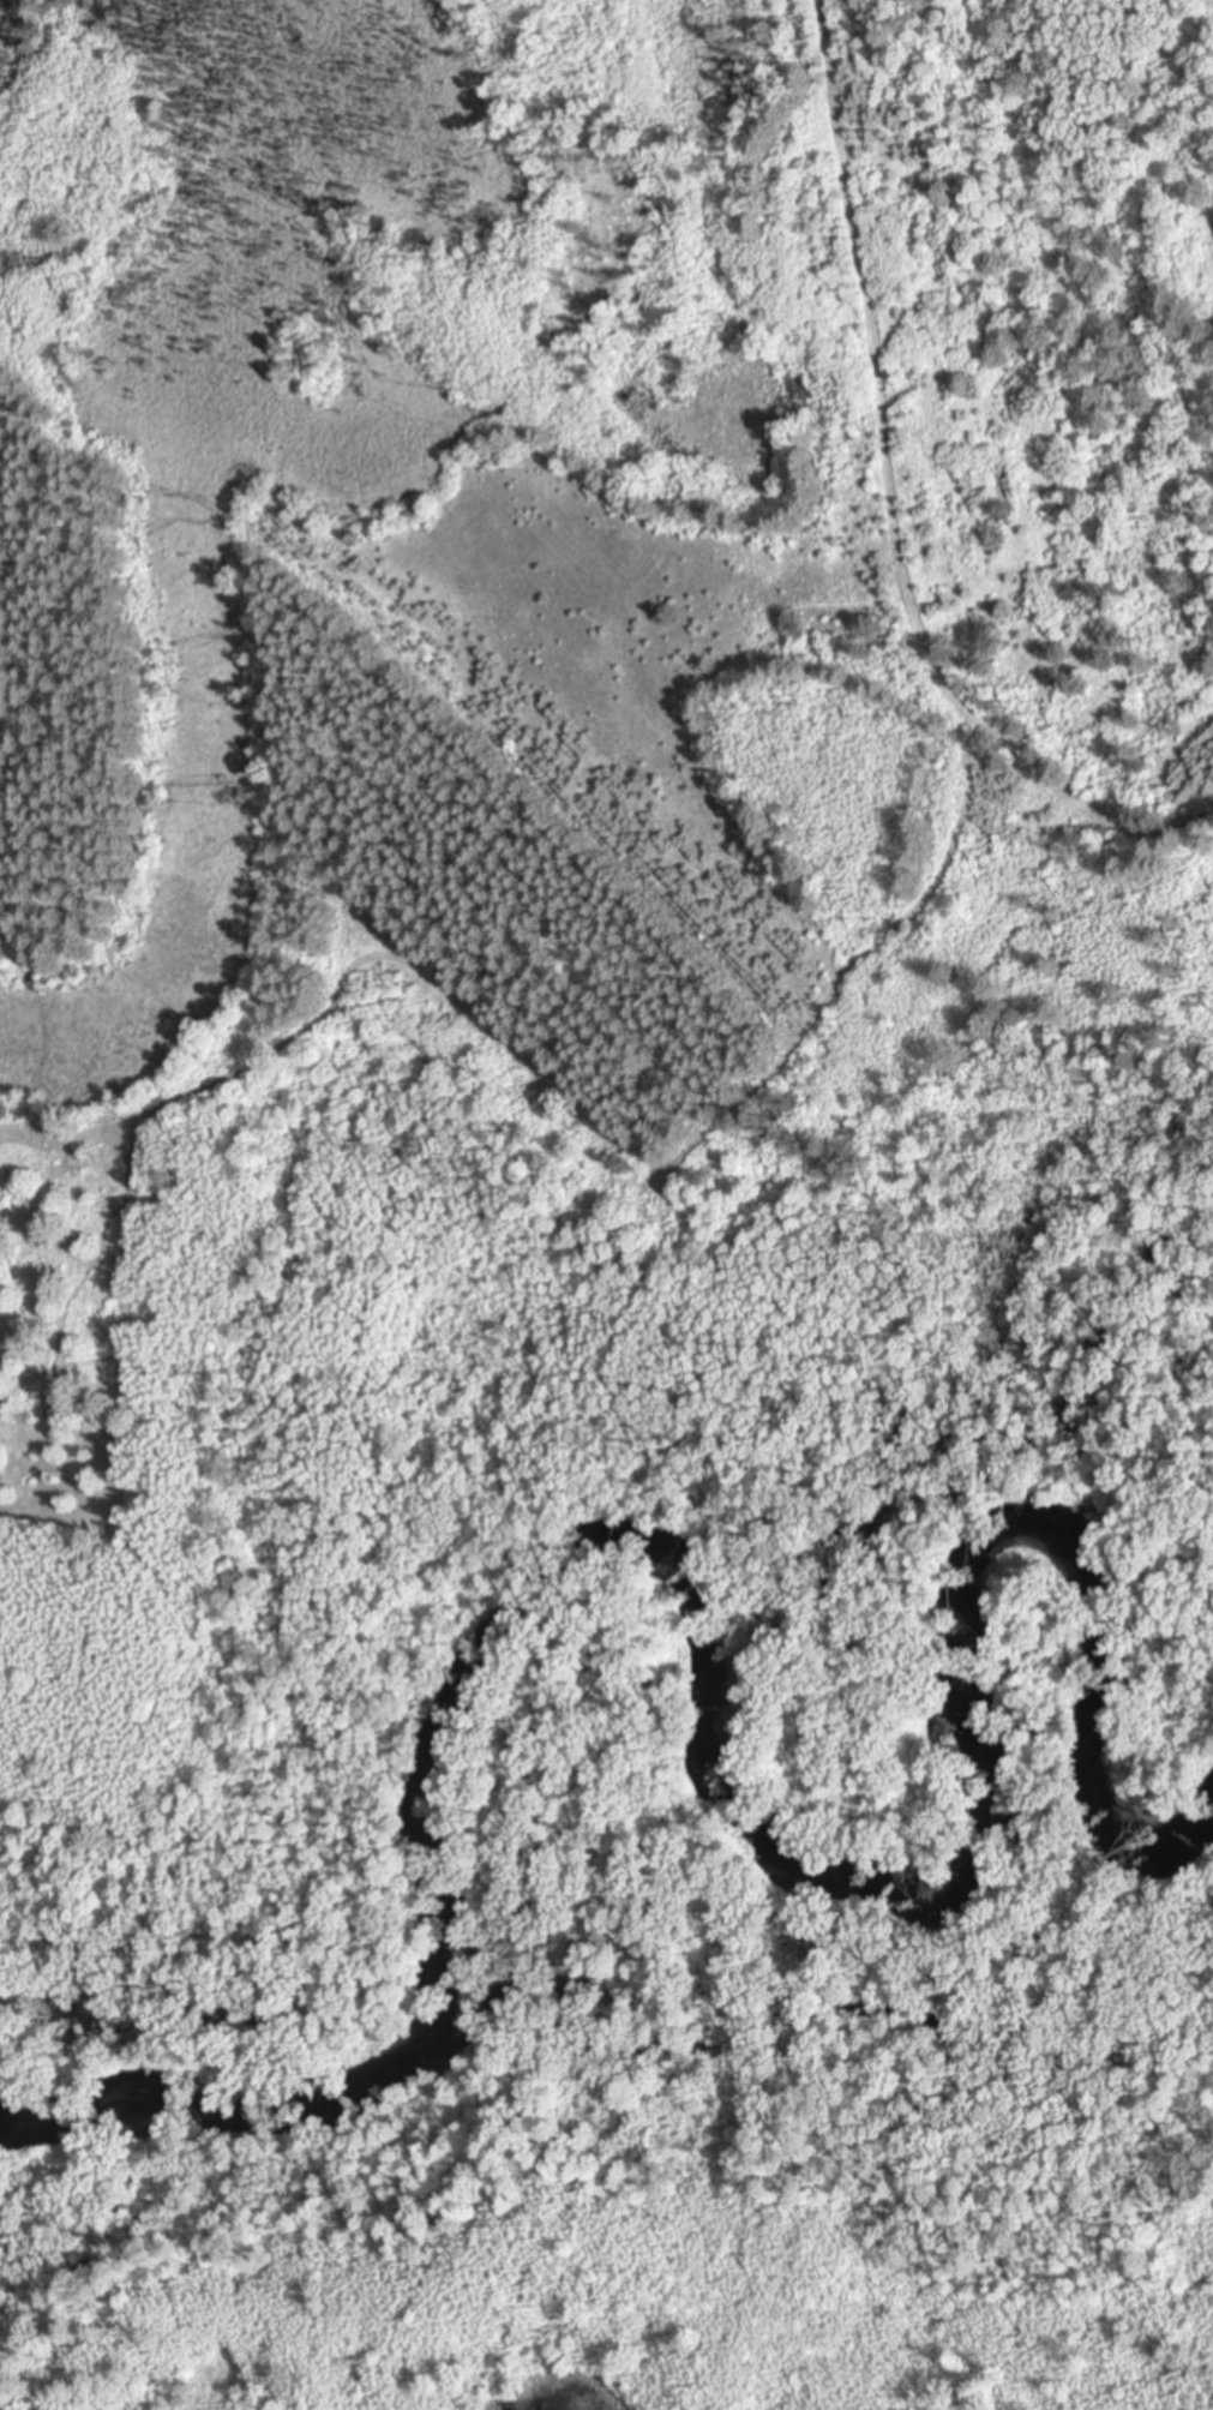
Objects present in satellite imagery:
river: (715, 1581)

